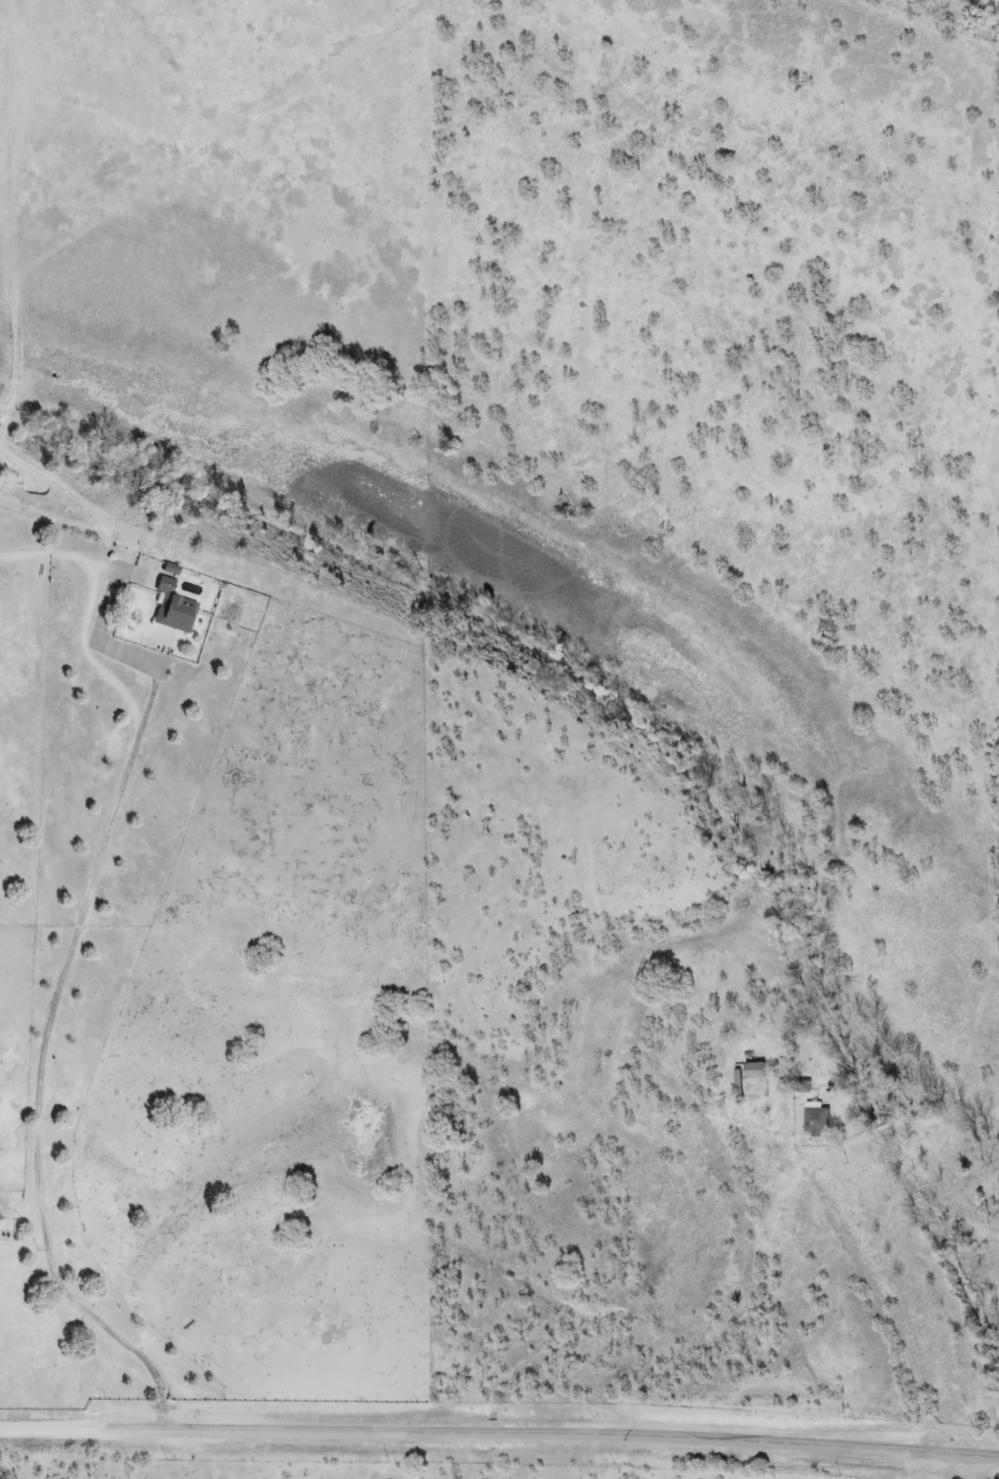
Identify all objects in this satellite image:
building: (172, 606)
building: (755, 1069)
building: (817, 1119)
road: (59, 1429)
road: (559, 1434)

